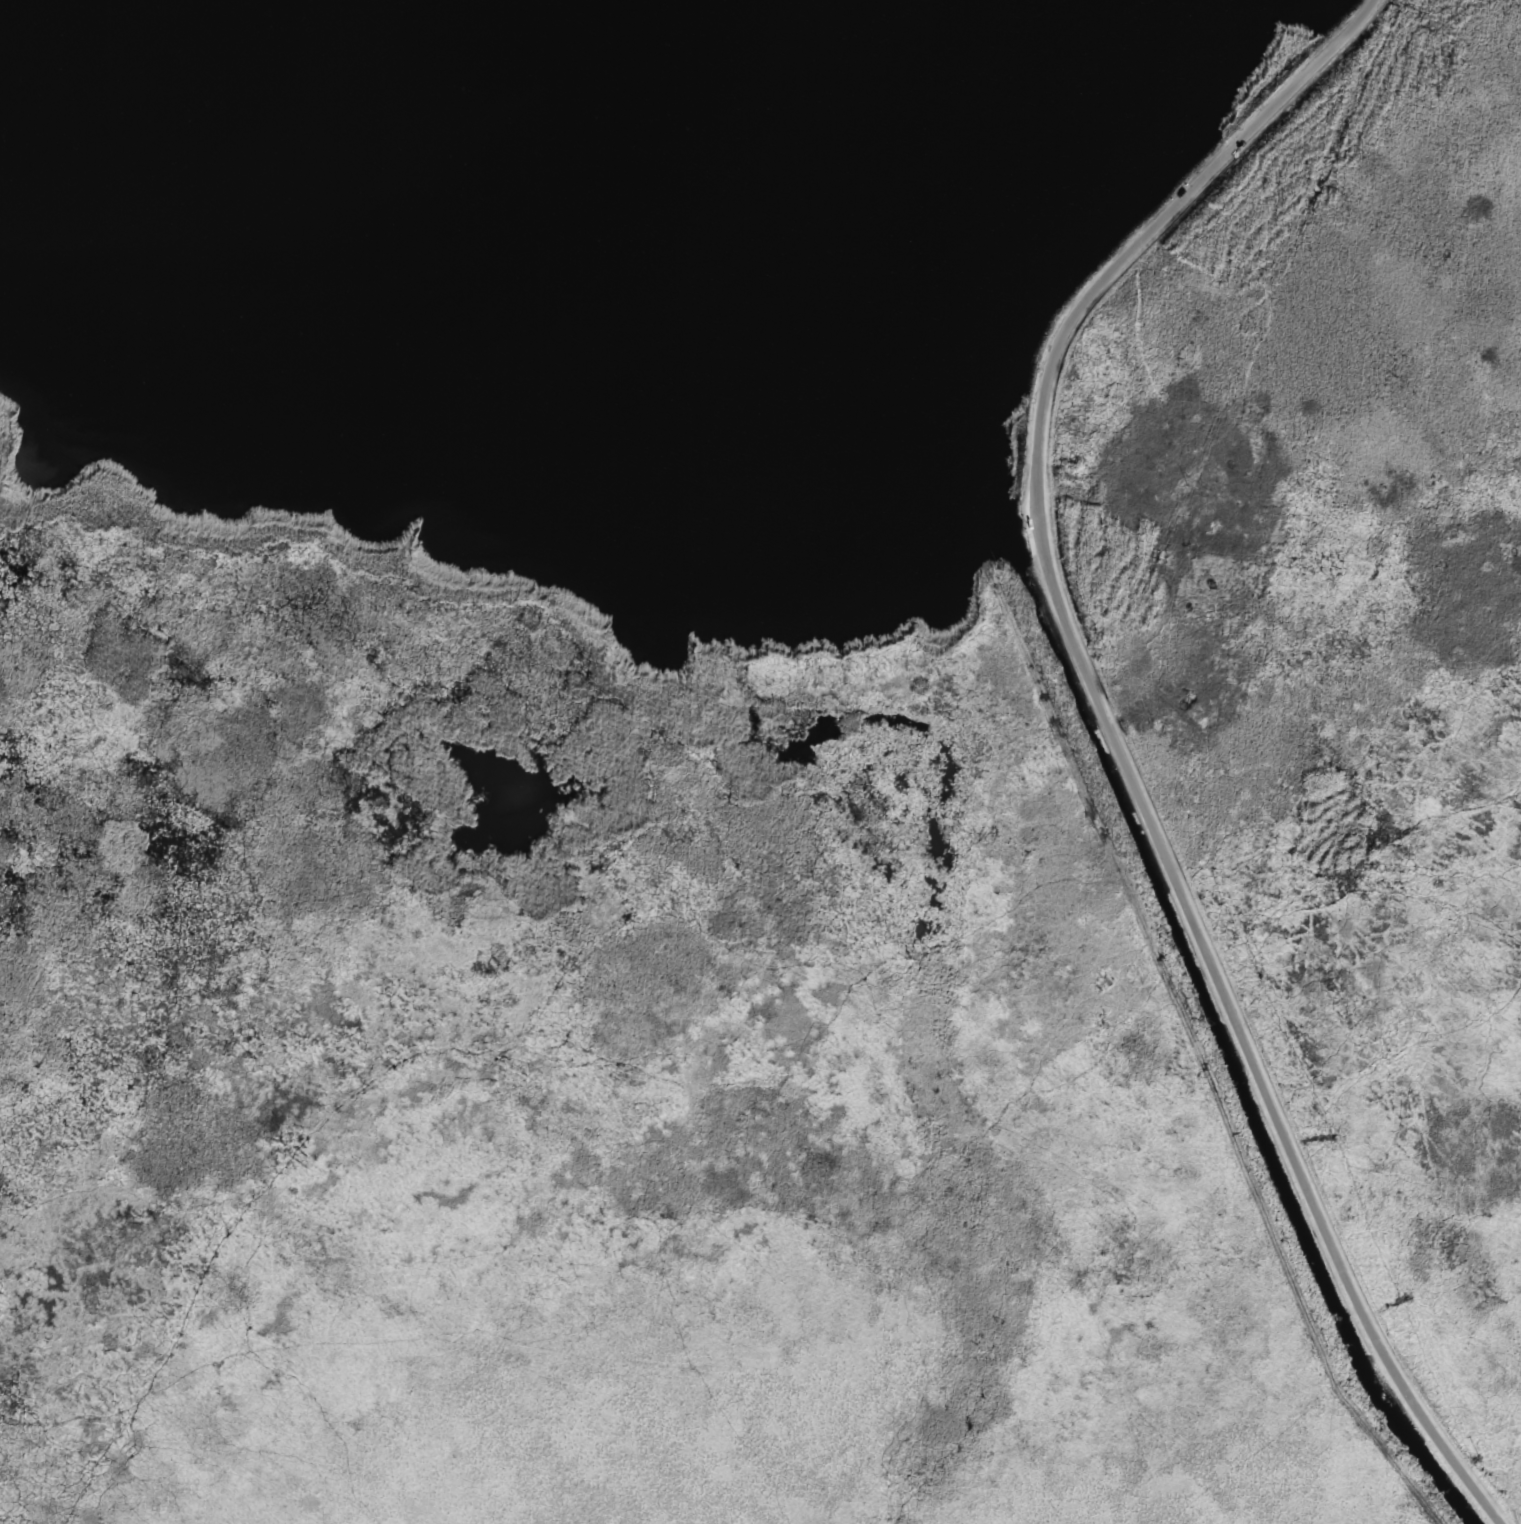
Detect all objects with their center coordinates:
road: (1119, 739)

